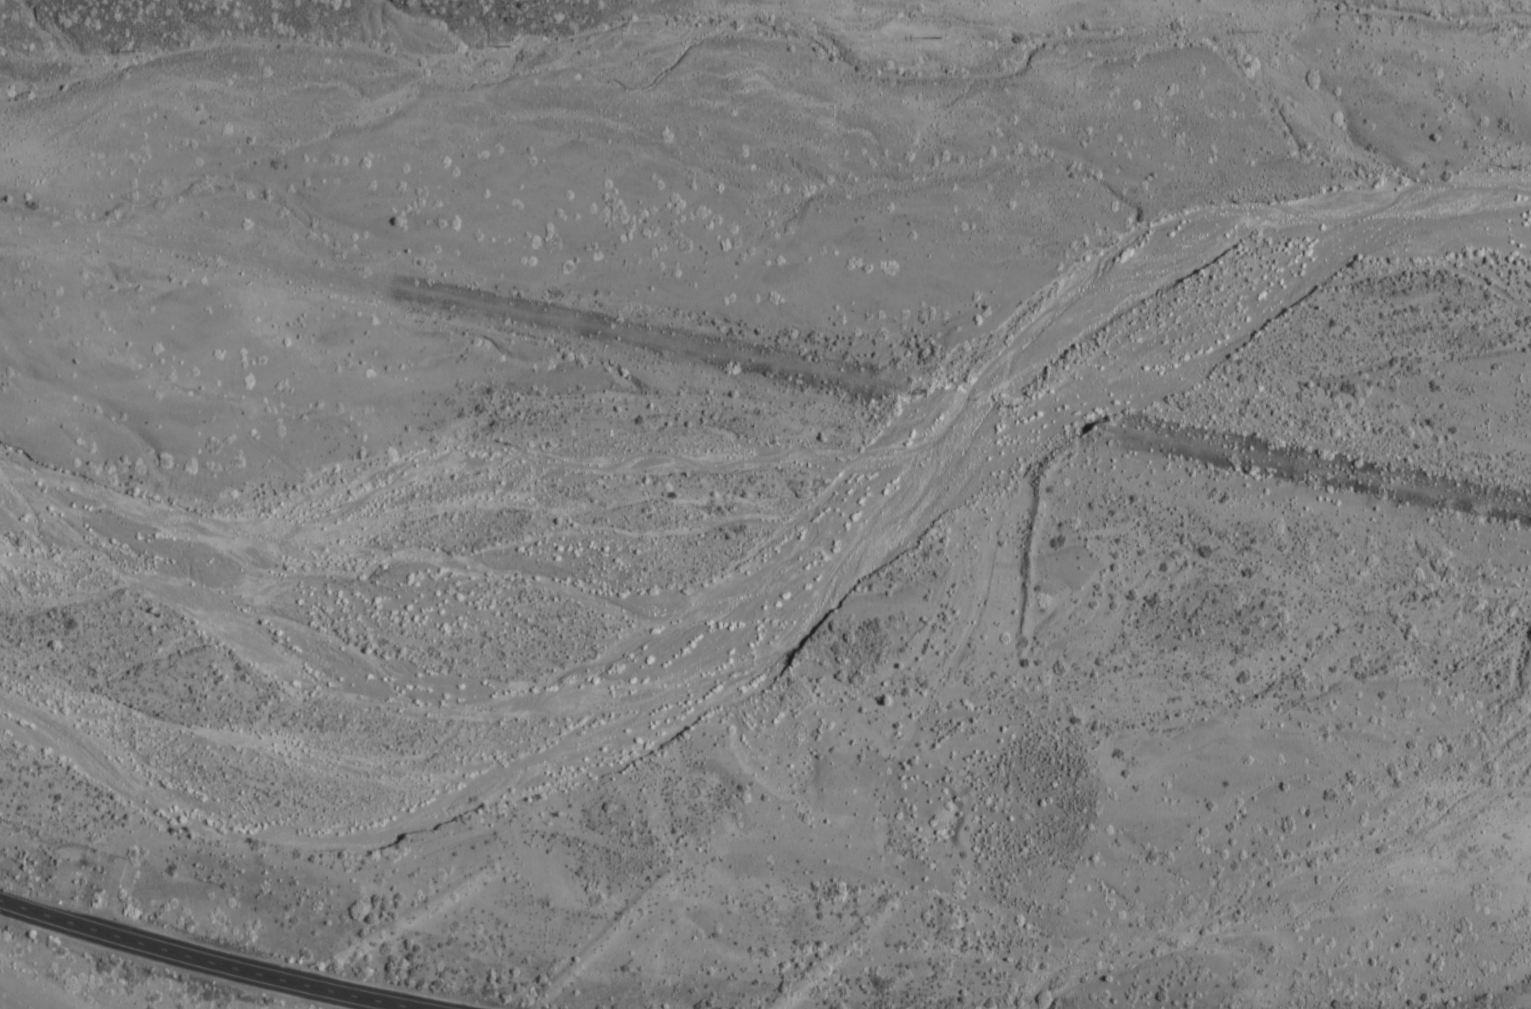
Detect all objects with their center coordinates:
road: (204, 959)

